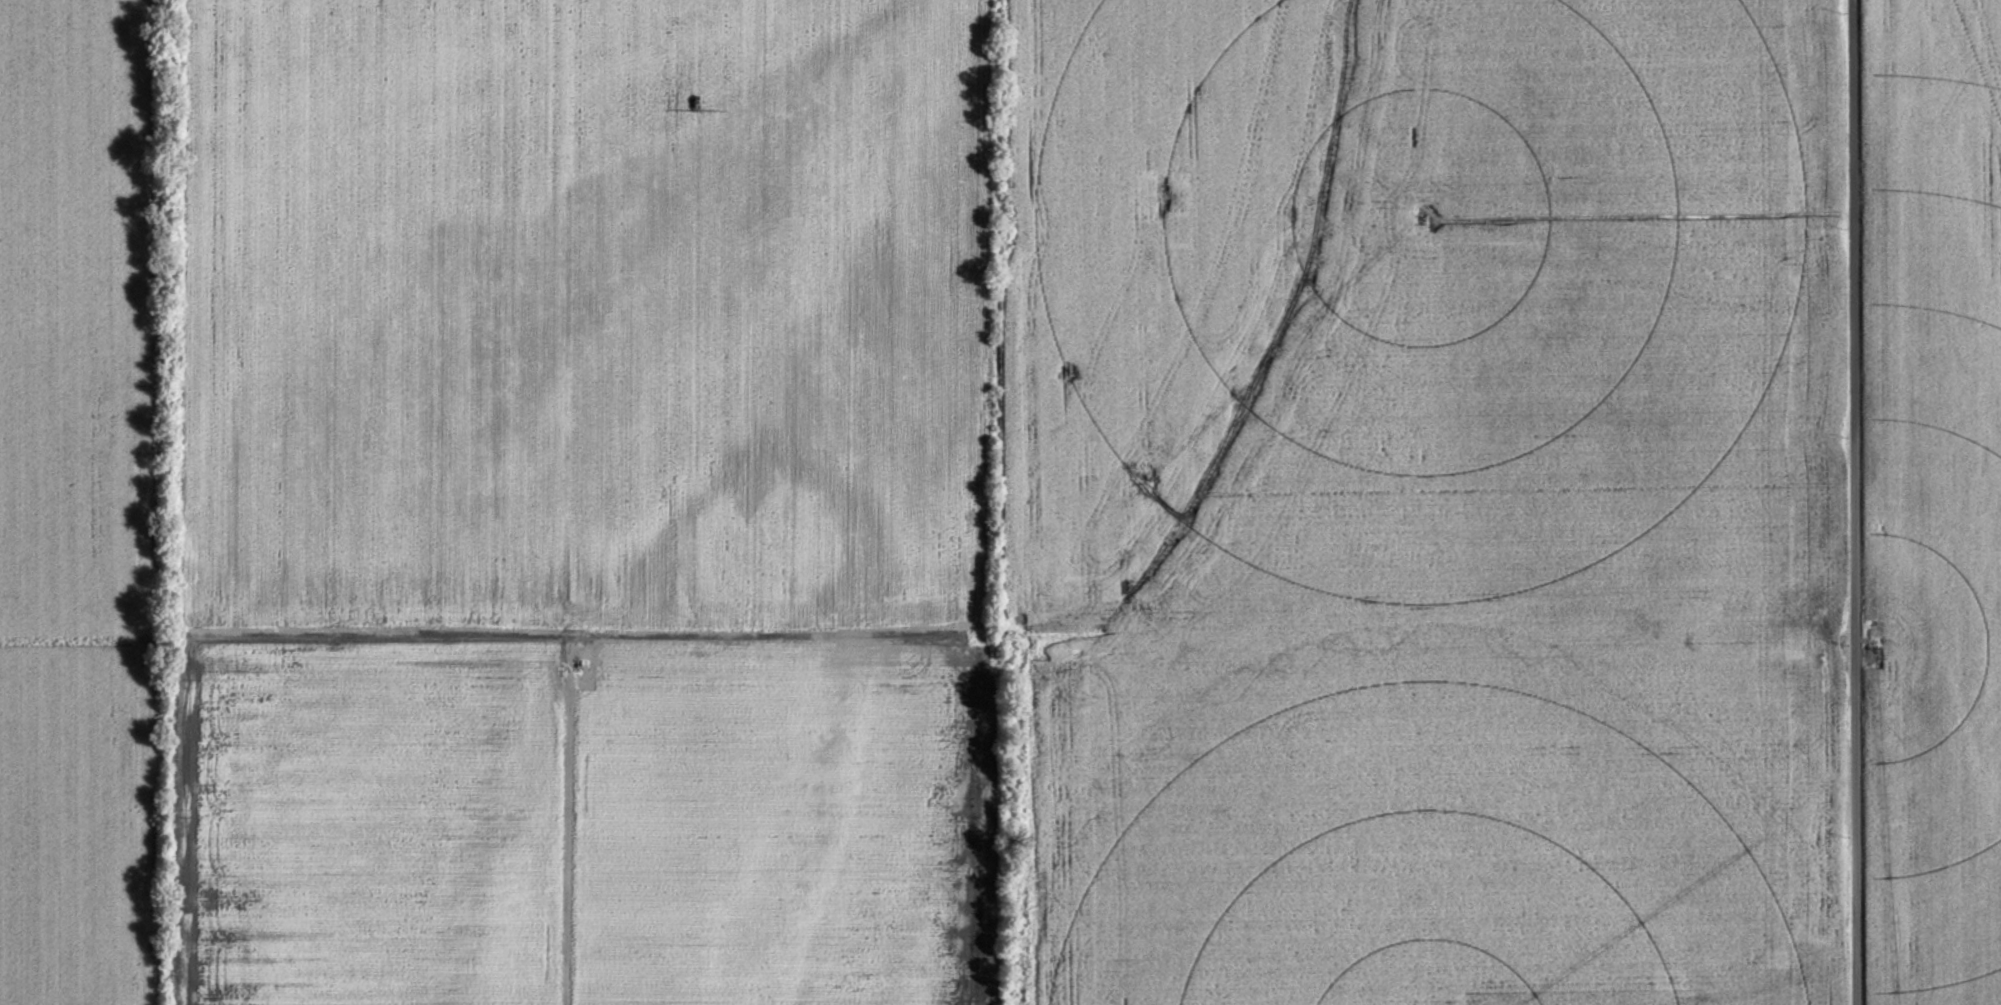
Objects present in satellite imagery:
road: (1856, 502)

